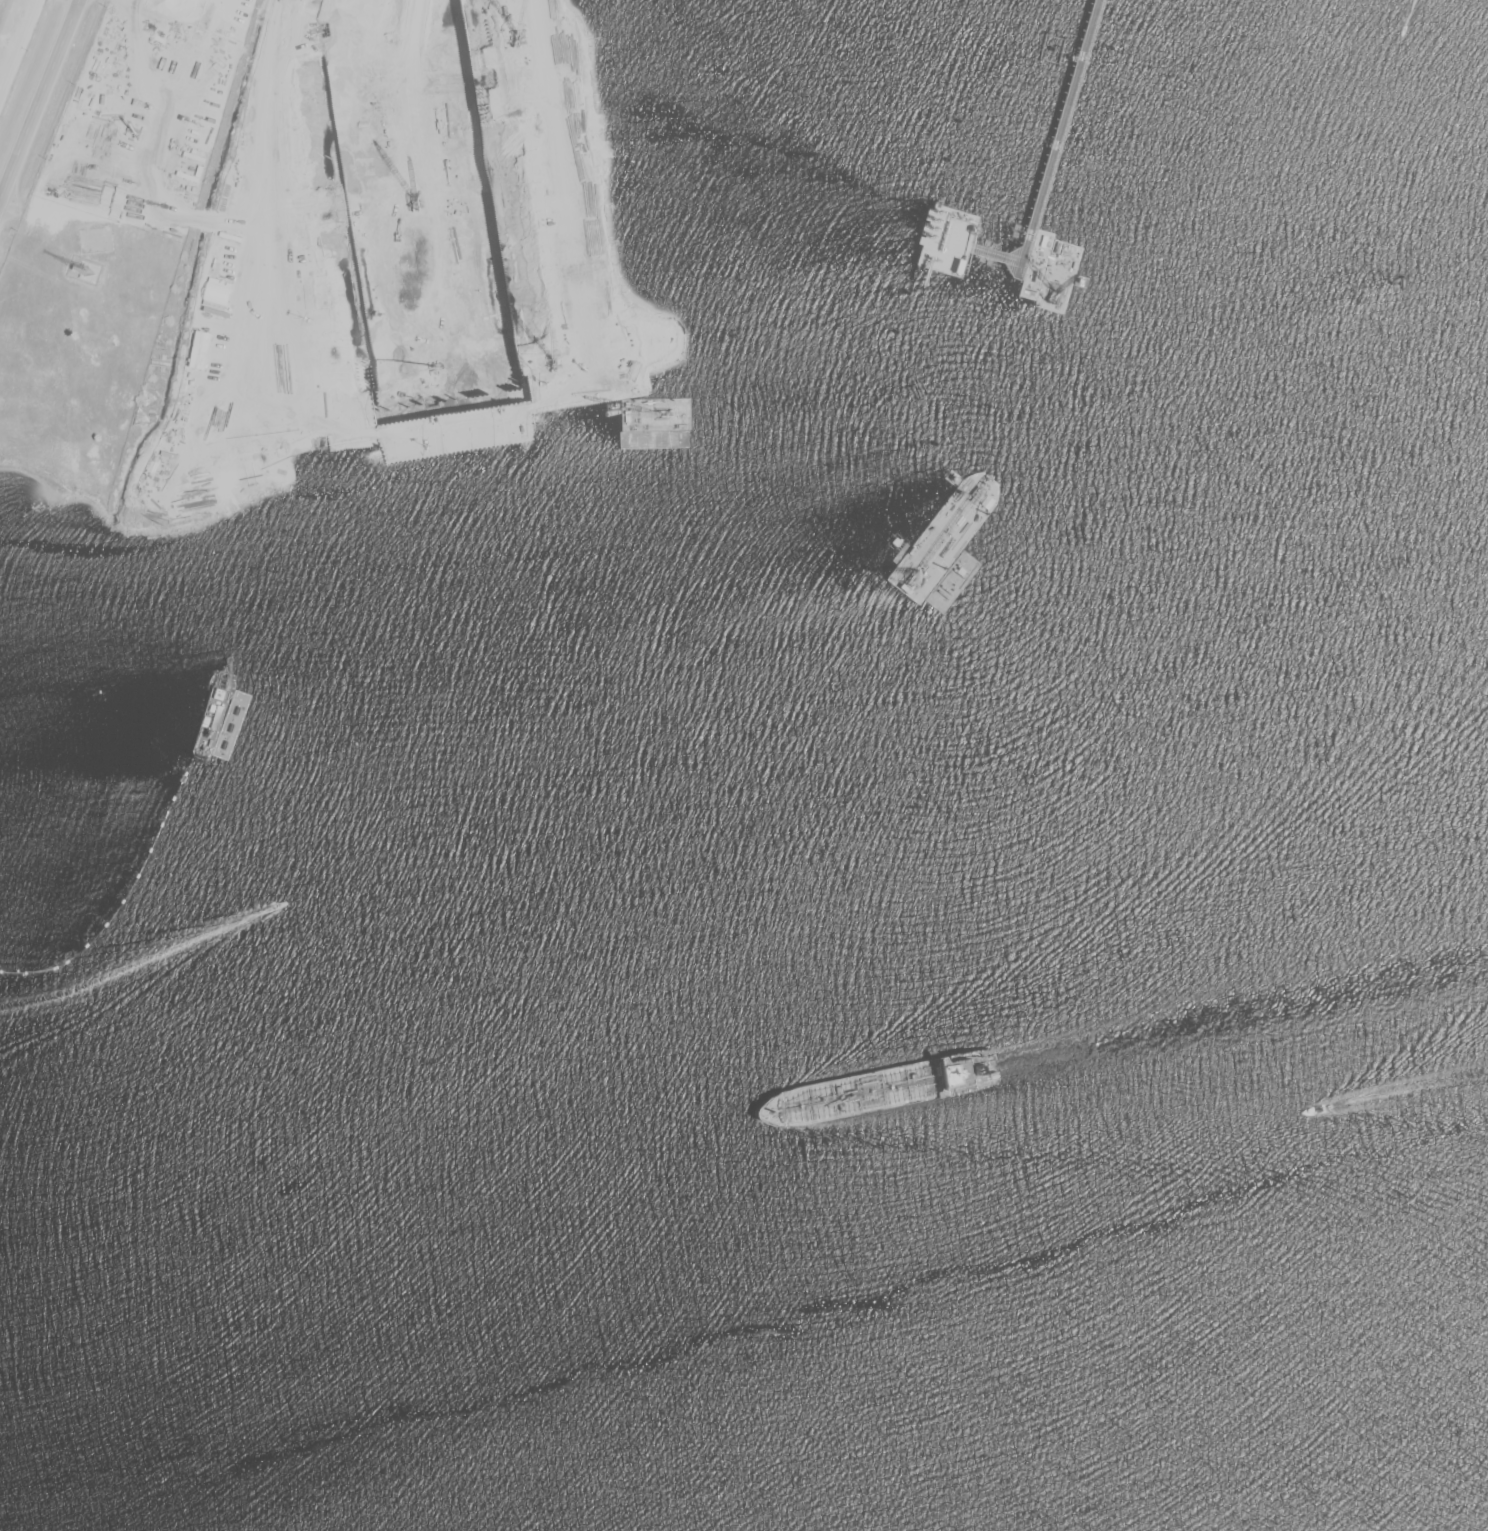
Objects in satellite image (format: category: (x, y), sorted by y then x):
road: (39, 99)
building: (508, 142)
building: (192, 162)
building: (92, 239)
building: (686, 464)
building: (543, 473)

